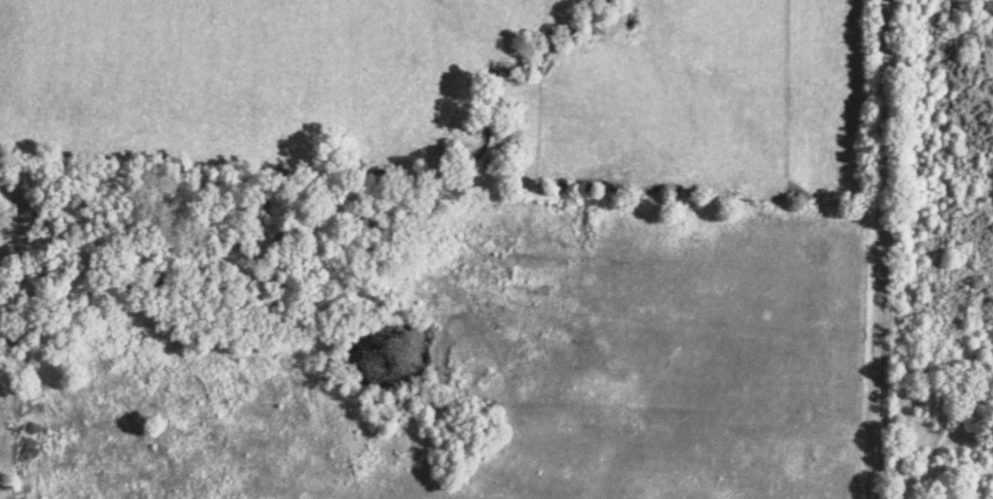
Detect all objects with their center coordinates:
road: (879, 249)

